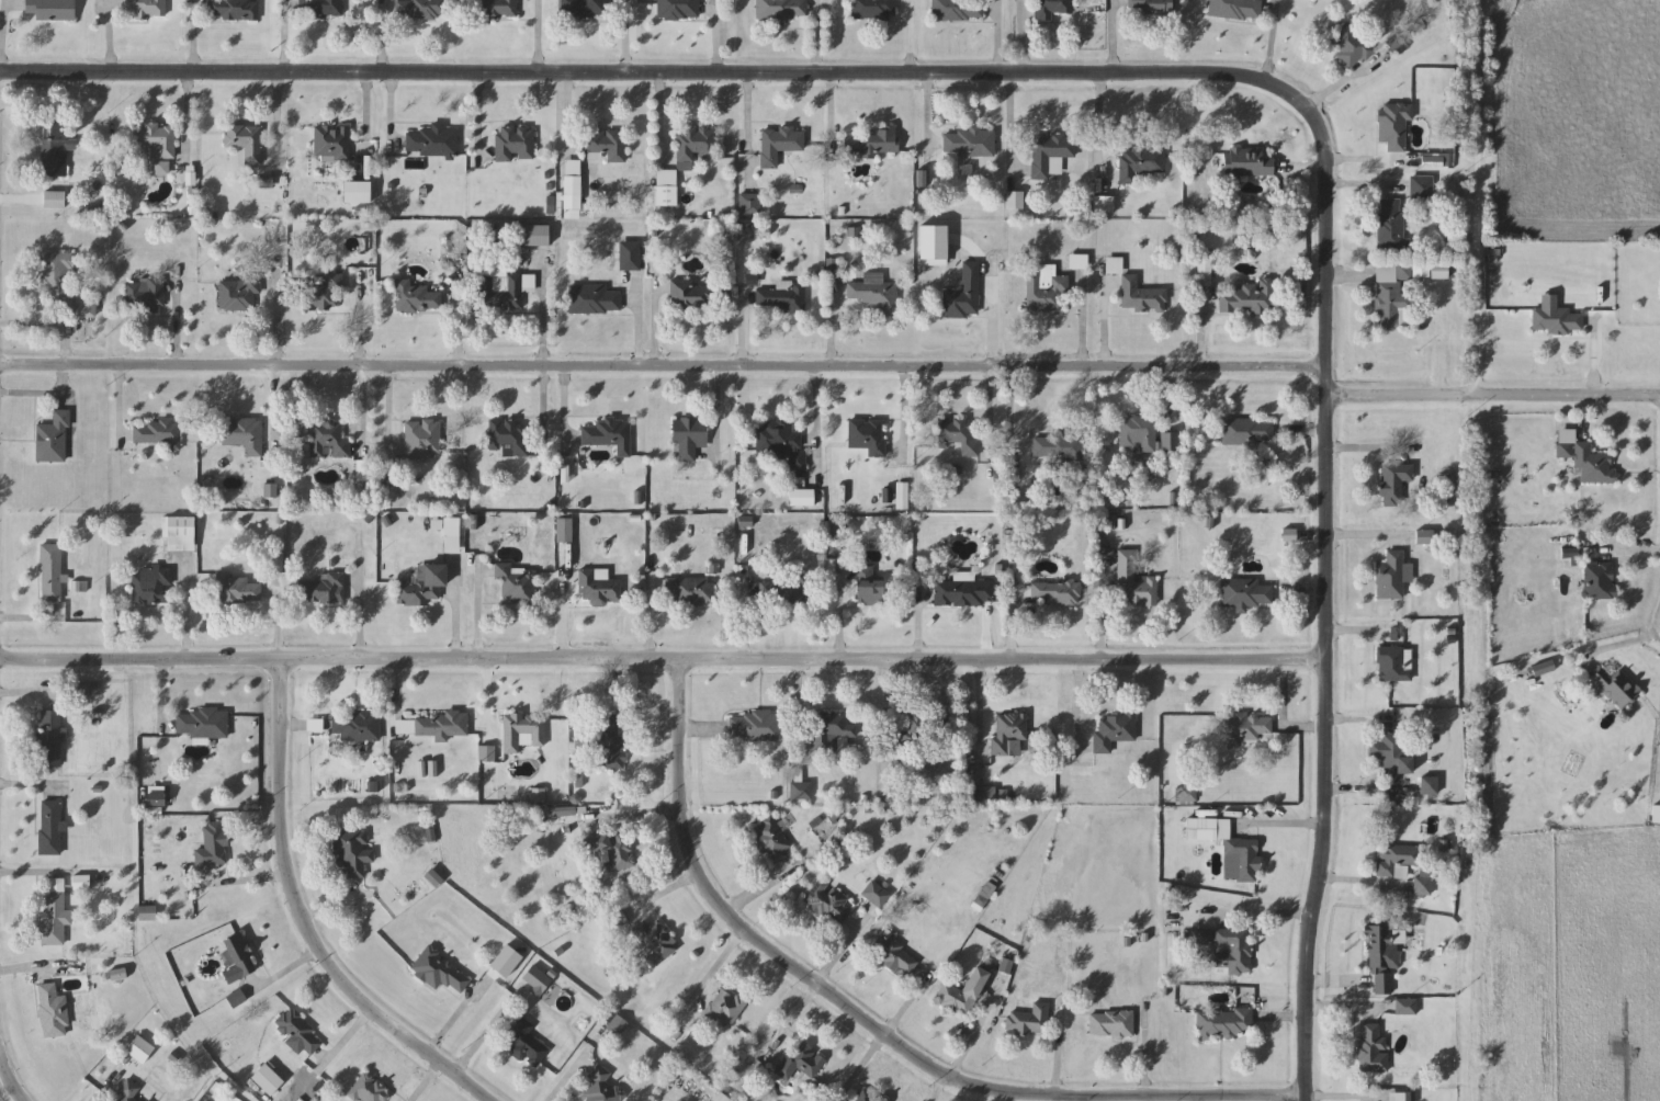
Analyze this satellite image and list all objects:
building: (145, 8)
building: (321, 8)
building: (498, 8)
building: (1051, 8)
building: (1151, 8)
building: (424, 9)
building: (584, 9)
building: (1235, 9)
building: (50, 10)
building: (234, 10)
building: (678, 10)
building: (781, 10)
building: (873, 10)
building: (957, 10)
road: (1, 36)
road: (106, 36)
road: (539, 36)
road: (626, 36)
road: (716, 36)
road: (816, 37)
road: (911, 37)
road: (1114, 37)
road: (997, 38)
road: (1269, 39)
road: (1020, 41)
building: (1351, 46)
road: (1158, 76)
road: (385, 77)
road: (190, 78)
road: (1343, 82)
road: (280, 87)
road: (49, 107)
road: (567, 107)
road: (928, 114)
road: (660, 116)
road: (364, 121)
road: (478, 121)
road: (1012, 122)
road: (748, 124)
building: (1393, 126)
road: (1098, 133)
building: (156, 139)
building: (246, 141)
building: (432, 141)
building: (605, 141)
building: (870, 141)
building: (332, 143)
building: (515, 144)
building: (779, 144)
building: (969, 144)
building: (693, 146)
building: (1050, 155)
building: (54, 158)
building: (1435, 160)
building: (1140, 162)
road: (1345, 163)
building: (1247, 164)
building: (572, 185)
building: (666, 188)
road: (1362, 188)
building: (1421, 188)
building: (355, 192)
road: (1478, 197)
building: (750, 204)
building: (1104, 204)
building: (1390, 224)
building: (531, 236)
building: (630, 256)
road: (1359, 272)
building: (63, 286)
building: (505, 290)
building: (1043, 290)
building: (963, 293)
building: (238, 294)
building: (876, 294)
building: (323, 295)
building: (692, 295)
building: (144, 296)
building: (781, 296)
building: (1141, 296)
building: (416, 297)
building: (1246, 298)
building: (595, 299)
building: (1391, 306)
building: (1556, 320)
road: (655, 325)
road: (1106, 325)
road: (640, 326)
road: (1081, 326)
road: (174, 327)
road: (829, 327)
road: (742, 329)
road: (1201, 329)
road: (456, 330)
road: (544, 357)
road: (65, 361)
road: (362, 361)
road: (275, 364)
road: (994, 364)
road: (662, 367)
road: (1592, 375)
road: (32, 395)
road: (1170, 396)
road: (1491, 396)
road: (120, 409)
road: (565, 409)
road: (718, 413)
road: (904, 417)
road: (816, 418)
road: (391, 419)
building: (1247, 431)
building: (157, 433)
building: (244, 434)
building: (607, 434)
building: (868, 435)
building: (959, 435)
building: (1145, 435)
building: (509, 436)
building: (688, 438)
building: (53, 439)
building: (422, 439)
building: (328, 440)
building: (781, 444)
building: (1059, 447)
road: (1365, 452)
building: (1589, 462)
building: (363, 470)
road: (1644, 477)
building: (1393, 483)
building: (179, 533)
road: (1363, 536)
building: (1424, 538)
road: (1622, 555)
building: (49, 572)
building: (1392, 576)
building: (1600, 580)
building: (1134, 582)
building: (515, 584)
building: (422, 587)
building: (151, 588)
building: (597, 588)
building: (236, 589)
building: (321, 590)
building: (784, 590)
building: (691, 592)
building: (958, 592)
building: (1054, 593)
building: (1244, 593)
building: (870, 595)
road: (650, 612)
road: (187, 614)
road: (840, 614)
road: (919, 615)
road: (563, 616)
road: (362, 617)
road: (455, 618)
road: (742, 618)
road: (30, 620)
road: (278, 620)
road: (1100, 620)
road: (1012, 624)
road: (1358, 631)
road: (1618, 647)
road: (663, 659)
building: (1390, 663)
road: (484, 666)
road: (398, 683)
building: (1615, 688)
road: (26, 695)
road: (160, 695)
road: (1283, 695)
road: (885, 702)
road: (799, 707)
road: (1079, 707)
road: (979, 720)
building: (202, 724)
building: (355, 726)
building: (431, 726)
building: (755, 727)
road: (1299, 727)
building: (1245, 728)
building: (1115, 729)
building: (919, 730)
building: (1008, 730)
building: (522, 731)
building: (833, 731)
building: (49, 739)
building: (609, 741)
building: (1392, 753)
building: (1428, 785)
road: (25, 787)
building: (801, 792)
road: (1369, 792)
building: (983, 796)
road: (631, 817)
road: (1278, 827)
building: (49, 828)
building: (771, 840)
building: (1227, 844)
building: (213, 845)
building: (610, 850)
building: (352, 852)
building: (1397, 858)
road: (32, 873)
road: (246, 882)
building: (1423, 883)
road: (1362, 884)
road: (757, 893)
road: (657, 898)
building: (828, 903)
road: (330, 908)
road: (1265, 913)
building: (55, 919)
road: (300, 920)
building: (653, 941)
building: (1233, 951)
building: (893, 955)
building: (1382, 956)
building: (237, 958)
road: (25, 968)
road: (718, 968)
road: (285, 972)
building: (440, 972)
road: (790, 972)
building: (535, 980)
road: (813, 990)
building: (962, 992)
building: (724, 1009)
building: (52, 1012)
road: (1287, 1020)
building: (1029, 1021)
road: (452, 1023)
building: (1224, 1023)
building: (1111, 1024)
building: (301, 1033)
road: (884, 1034)
road: (484, 1038)
road: (347, 1043)
building: (524, 1044)
building: (1373, 1049)
road: (964, 1052)
road: (1058, 1052)
road: (1144, 1058)
road: (1, 1062)
building: (800, 1062)
road: (5, 1077)
road: (566, 1078)
road: (427, 1082)
building: (601, 1087)
road: (5, 1088)
building: (369, 1091)
building: (128, 1092)
road: (100, 1093)
road: (1343, 1098)
building: (1398, 1098)
road: (1006, 1099)
road: (1242, 1099)
road: (1073, 1100)

